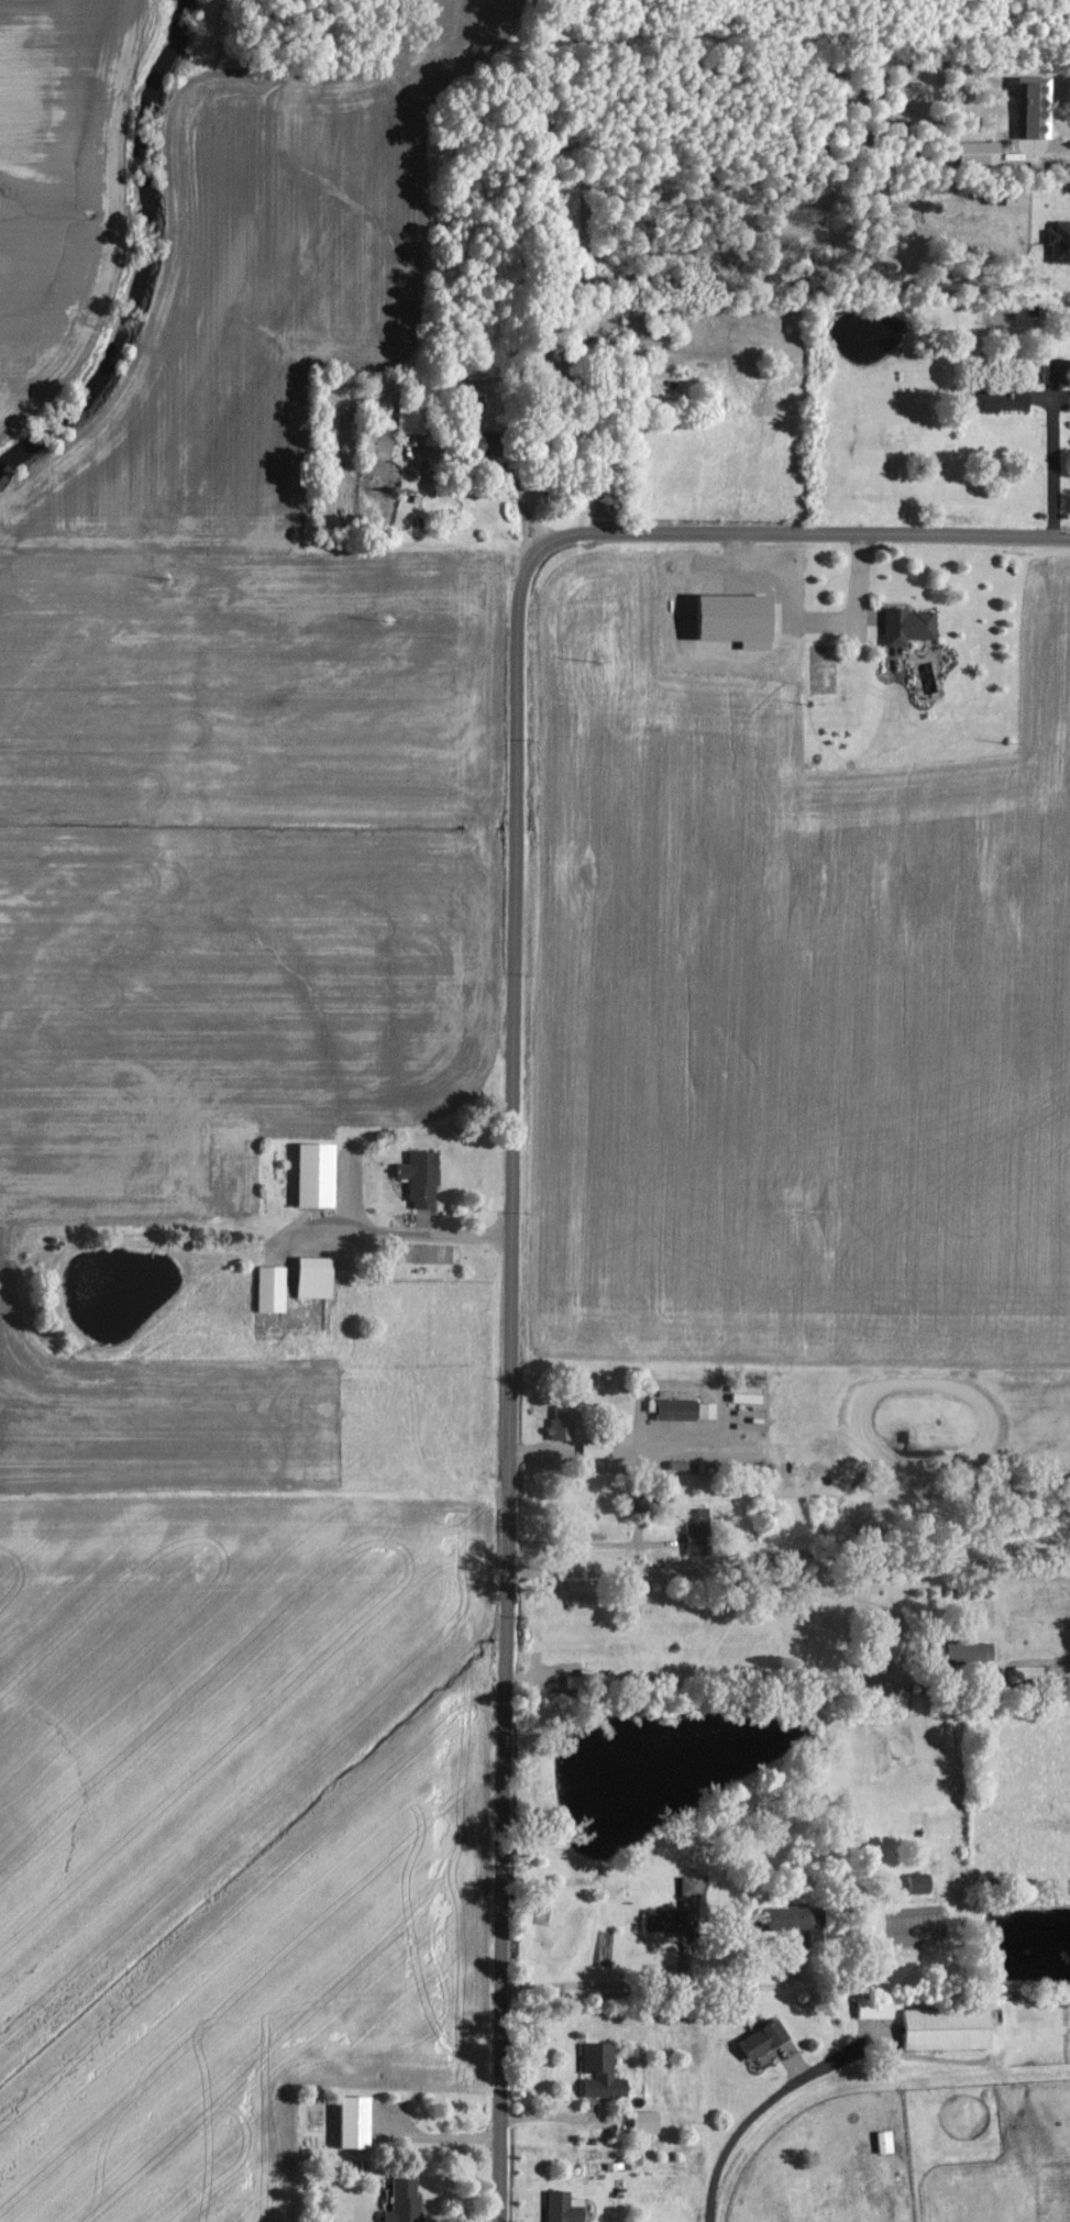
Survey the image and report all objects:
building: (1037, 109)
building: (983, 154)
road: (1051, 157)
building: (1061, 243)
building: (1058, 371)
building: (1002, 399)
building: (416, 421)
building: (495, 444)
building: (379, 446)
road: (1055, 462)
road: (795, 533)
building: (741, 618)
building: (912, 626)
building: (320, 1174)
building: (424, 1178)
road: (409, 1239)
building: (319, 1276)
building: (275, 1289)
road: (507, 1377)
building: (680, 1405)
building: (710, 1411)
building: (755, 1422)
building: (570, 1424)
building: (597, 1450)
building: (640, 1504)
building: (703, 1530)
road: (721, 1569)
building: (973, 1651)
building: (1032, 1672)
building: (595, 1681)
building: (924, 1886)
building: (794, 1917)
building: (672, 1921)
road: (646, 1985)
building: (879, 2009)
building: (950, 2028)
building: (768, 2041)
building: (605, 2072)
building: (649, 2122)
building: (358, 2123)
road: (744, 2127)
building: (889, 2142)
building: (408, 2202)

